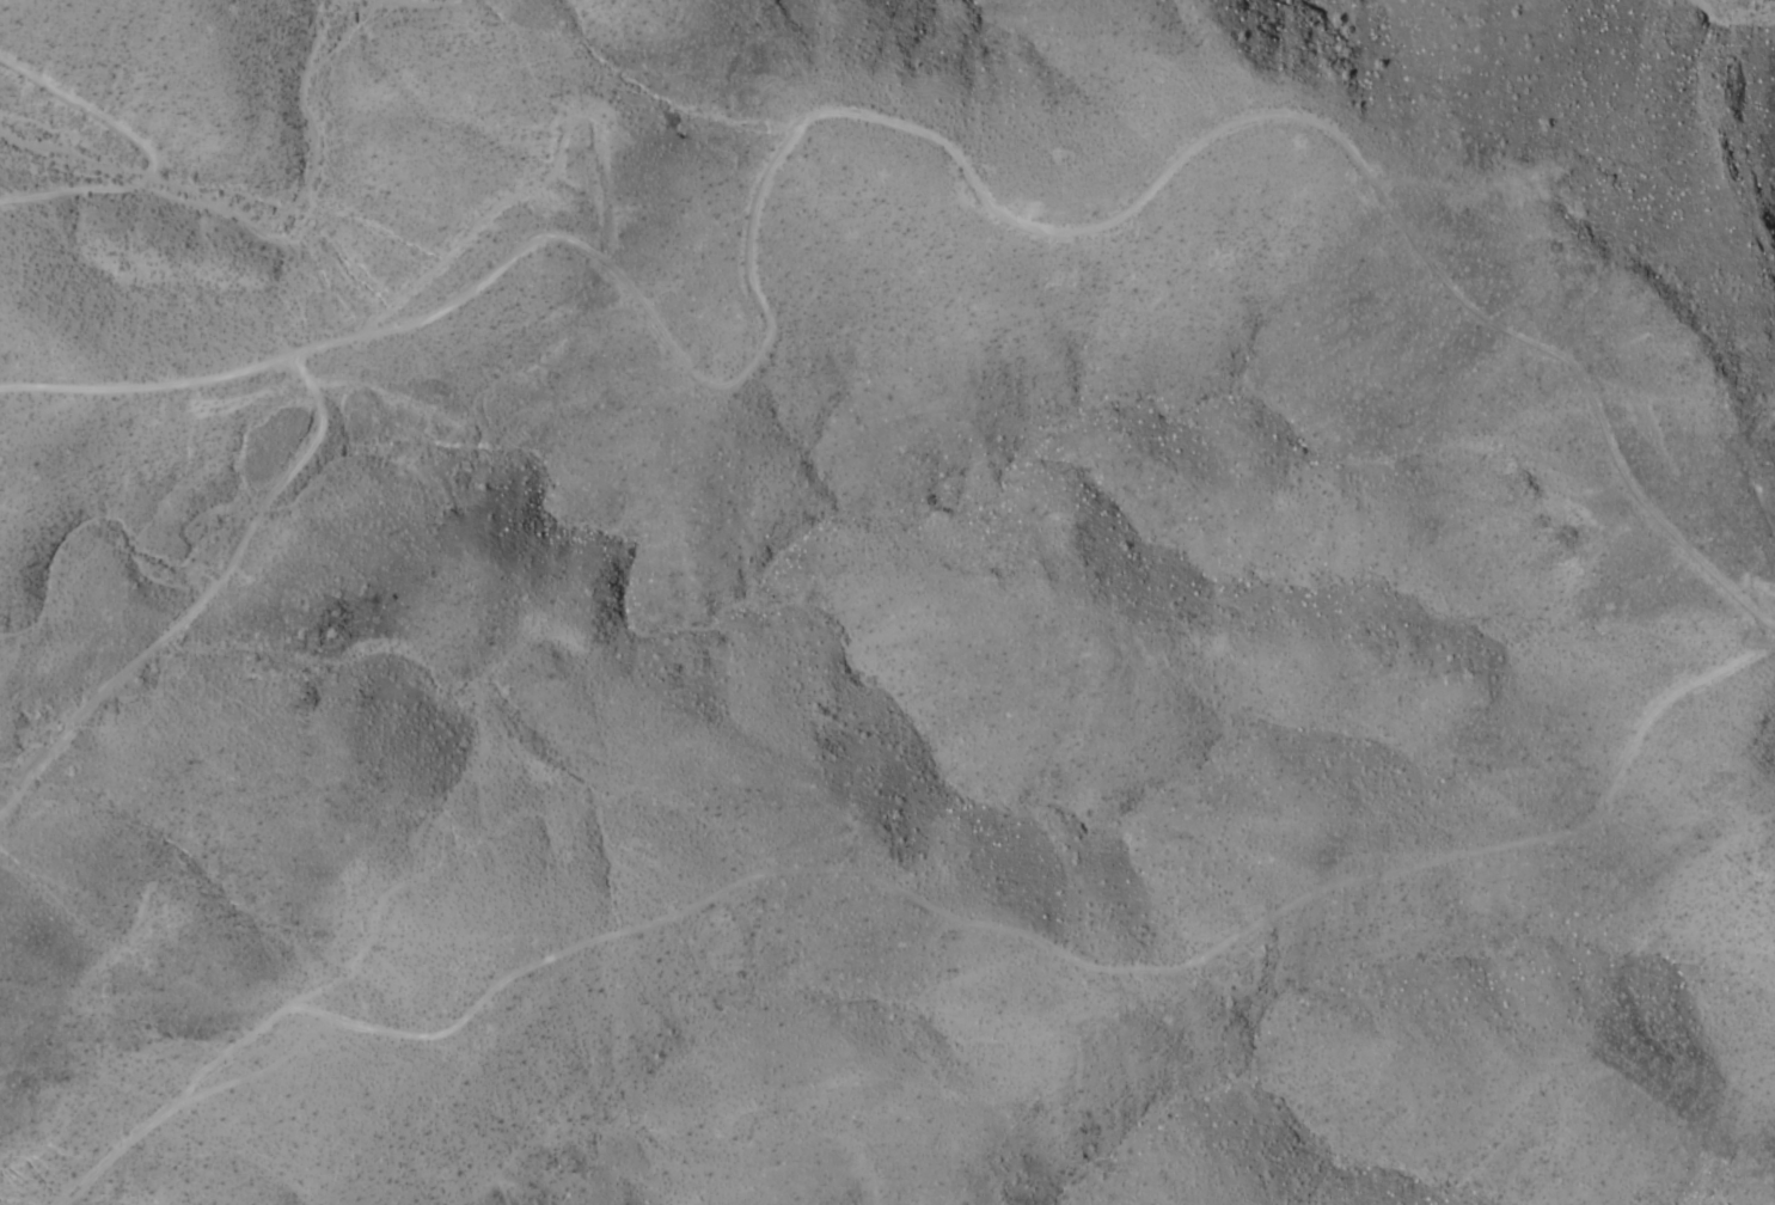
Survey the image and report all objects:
road: (881, 129)
road: (142, 158)
road: (201, 601)
road: (918, 899)
road: (353, 964)

